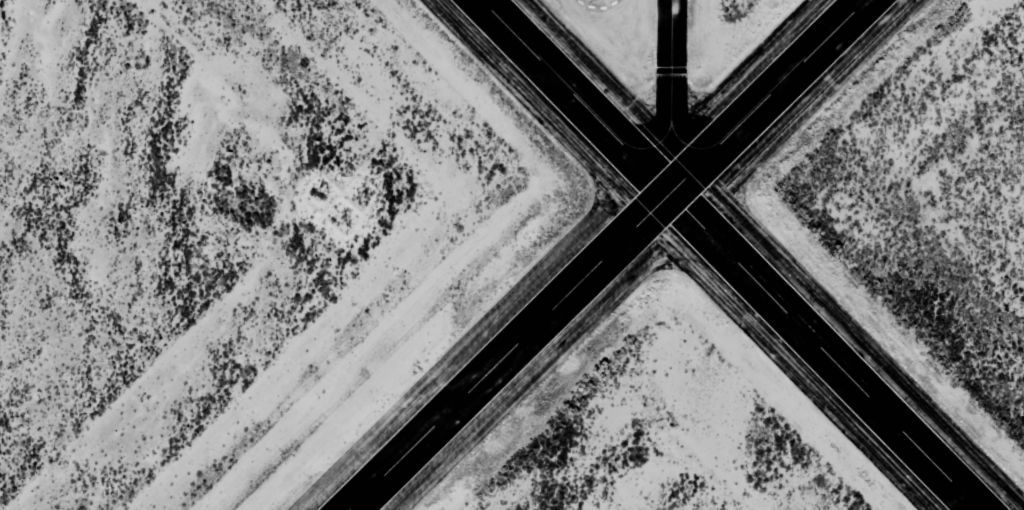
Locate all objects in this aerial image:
airport taxiway: (670, 97)
airport runway: (608, 254)
airport runway: (729, 254)

